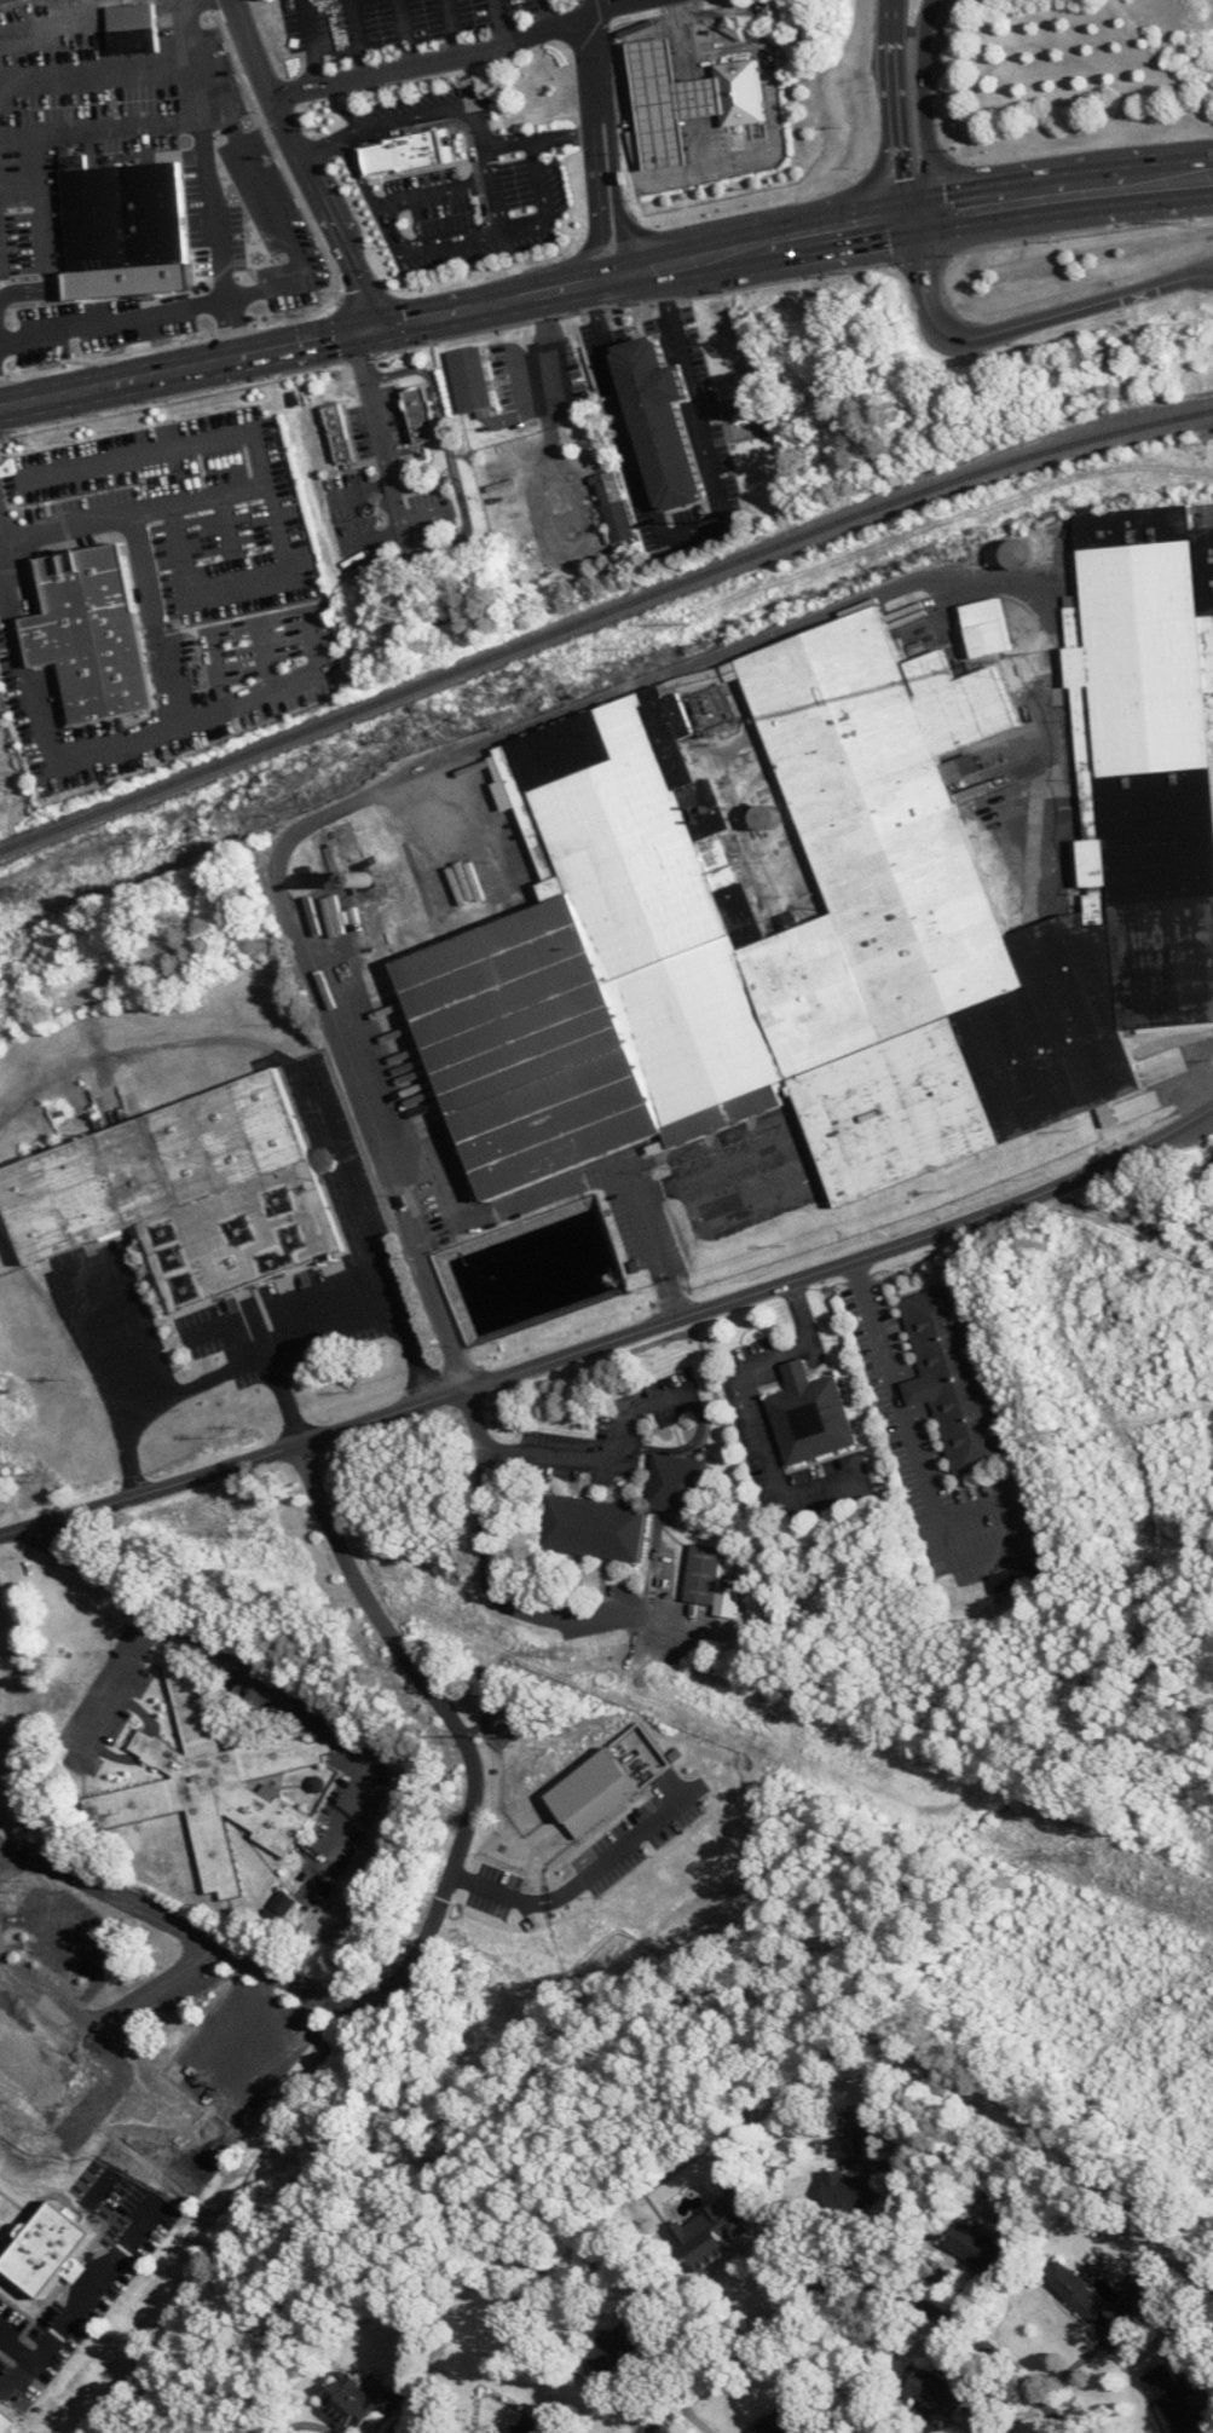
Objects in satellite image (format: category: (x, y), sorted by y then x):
road: (639, 0)
road: (591, 6)
road: (548, 11)
road: (499, 19)
road: (185, 27)
building: (734, 27)
road: (455, 28)
building: (132, 34)
road: (406, 34)
road: (358, 39)
road: (689, 39)
road: (311, 42)
road: (435, 62)
road: (91, 67)
road: (769, 94)
road: (613, 98)
building: (739, 98)
building: (474, 103)
road: (629, 103)
building: (668, 105)
road: (925, 106)
road: (900, 108)
road: (417, 115)
road: (600, 116)
road: (190, 120)
road: (235, 132)
road: (542, 137)
road: (317, 146)
road: (699, 152)
road: (883, 154)
building: (406, 158)
road: (305, 162)
road: (1005, 177)
road: (435, 191)
road: (372, 192)
road: (1064, 194)
road: (544, 202)
traffic signals: (918, 215)
building: (123, 230)
road: (496, 231)
building: (270, 240)
road: (285, 281)
road: (457, 306)
road: (672, 312)
road: (114, 321)
traffic signals: (377, 323)
road: (1020, 325)
road: (235, 328)
road: (547, 348)
road: (689, 379)
building: (470, 382)
road: (374, 415)
building: (423, 417)
building: (668, 417)
building: (341, 436)
building: (588, 445)
road: (265, 484)
road: (651, 494)
building: (614, 507)
road: (583, 538)
building: (1024, 555)
storage tank: (1024, 555)
road: (244, 573)
railway: (601, 615)
building: (988, 632)
building: (98, 636)
road: (613, 693)
road: (116, 737)
building: (10, 807)
building: (763, 815)
building: (346, 844)
building: (862, 895)
road: (304, 1079)
road: (382, 1132)
road: (809, 1171)
road: (657, 1189)
building: (190, 1197)
building: (522, 1269)
road: (424, 1276)
road: (613, 1339)
road: (100, 1347)
road: (259, 1357)
building: (951, 1378)
road: (288, 1399)
road: (699, 1407)
road: (755, 1408)
building: (809, 1416)
road: (915, 1449)
road: (559, 1457)
building: (677, 1484)
road: (485, 1526)
building: (593, 1528)
power tower: (255, 1539)
building: (1021, 1576)
building: (710, 1581)
road: (624, 1608)
power tower: (555, 1655)
road: (259, 1679)
road: (121, 1685)
road: (469, 1745)
building: (216, 1785)
power tower: (1079, 1857)
road: (566, 1892)
road: (268, 2062)
building: (30, 2099)
building: (849, 2190)
building: (1, 2201)
building: (709, 2236)
building: (975, 2245)
building: (56, 2249)
road: (857, 2271)
building: (1074, 2291)
building: (1131, 2308)
building: (617, 2343)
building: (929, 2393)
building: (1174, 2399)
building: (359, 2403)
building: (780, 2422)
building: (537, 2426)

